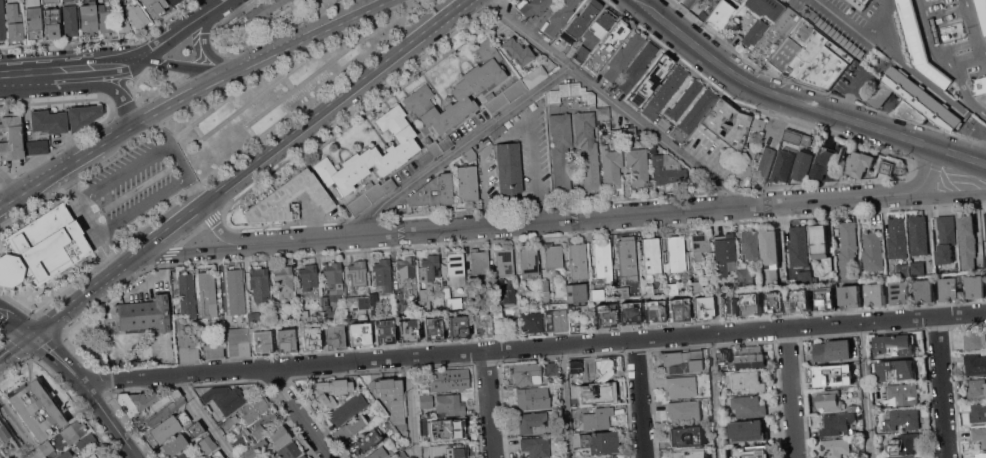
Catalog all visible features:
building: (64, 0)
building: (292, 0)
building: (580, 0)
building: (678, 0)
building: (783, 0)
building: (50, 1)
building: (174, 2)
building: (687, 3)
building: (859, 4)
building: (155, 6)
building: (535, 7)
building: (763, 9)
building: (263, 10)
building: (981, 14)
building: (137, 16)
building: (560, 16)
building: (719, 16)
building: (89, 17)
building: (33, 19)
building: (106, 19)
building: (582, 19)
building: (70, 20)
building: (2, 21)
building: (14, 22)
building: (52, 22)
road: (439, 24)
building: (123, 25)
road: (182, 28)
road: (972, 30)
building: (594, 33)
building: (753, 33)
building: (773, 34)
building: (790, 43)
building: (920, 44)
building: (607, 46)
road: (208, 49)
building: (517, 51)
building: (805, 54)
building: (623, 56)
road: (946, 61)
road: (246, 64)
road: (185, 65)
building: (827, 65)
road: (321, 67)
building: (636, 68)
road: (972, 68)
road: (72, 70)
road: (916, 72)
building: (535, 76)
building: (651, 80)
road: (288, 82)
road: (78, 83)
building: (979, 85)
park: (280, 91)
building: (458, 91)
building: (664, 92)
building: (570, 93)
road: (849, 94)
building: (881, 95)
building: (504, 96)
building: (922, 99)
road: (613, 101)
building: (682, 101)
road: (801, 103)
road: (244, 105)
building: (911, 112)
building: (604, 113)
building: (694, 115)
building: (64, 118)
road: (306, 124)
road: (190, 125)
building: (726, 125)
building: (758, 125)
building: (498, 131)
building: (630, 133)
building: (11, 136)
building: (797, 138)
building: (37, 147)
road: (459, 147)
building: (434, 149)
building: (588, 149)
road: (239, 150)
building: (561, 150)
road: (83, 154)
building: (373, 154)
building: (470, 155)
road: (178, 157)
road: (985, 158)
building: (828, 159)
building: (766, 161)
building: (745, 162)
building: (856, 162)
building: (802, 165)
building: (638, 166)
building: (783, 166)
building: (611, 167)
building: (888, 167)
building: (509, 168)
building: (667, 169)
road: (533, 172)
road: (924, 177)
road: (42, 180)
parking lot: (131, 184)
building: (468, 184)
road: (8, 185)
road: (69, 186)
building: (433, 191)
building: (370, 195)
road: (942, 196)
road: (13, 198)
building: (290, 199)
road: (1, 206)
building: (985, 217)
road: (579, 218)
road: (84, 220)
road: (173, 225)
road: (223, 232)
building: (918, 234)
building: (897, 238)
building: (945, 239)
building: (967, 241)
building: (699, 245)
building: (750, 245)
building: (799, 246)
building: (42, 247)
building: (821, 247)
building: (848, 250)
building: (873, 251)
road: (201, 252)
building: (676, 254)
building: (552, 255)
building: (722, 255)
building: (627, 256)
building: (770, 256)
building: (651, 257)
building: (603, 259)
building: (577, 260)
building: (479, 261)
building: (504, 261)
building: (529, 261)
building: (985, 262)
building: (455, 263)
building: (918, 265)
building: (431, 267)
building: (902, 269)
building: (358, 273)
building: (383, 273)
building: (332, 274)
building: (745, 274)
building: (408, 275)
building: (806, 276)
building: (308, 277)
building: (259, 282)
building: (285, 282)
building: (717, 285)
building: (520, 286)
building: (696, 287)
building: (975, 287)
building: (950, 288)
building: (671, 289)
building: (546, 290)
road: (86, 291)
building: (236, 291)
building: (647, 291)
building: (924, 291)
building: (623, 292)
building: (900, 292)
building: (576, 293)
building: (187, 294)
building: (208, 294)
building: (450, 294)
building: (505, 294)
building: (598, 294)
building: (875, 294)
building: (850, 296)
building: (373, 298)
building: (825, 299)
building: (801, 300)
building: (424, 301)
building: (358, 303)
building: (453, 303)
building: (777, 303)
building: (752, 304)
building: (727, 306)
building: (401, 308)
building: (703, 308)
building: (329, 310)
building: (320, 311)
building: (653, 311)
building: (276, 312)
building: (628, 312)
building: (677, 312)
building: (145, 314)
building: (604, 315)
building: (303, 316)
building: (254, 318)
building: (556, 320)
building: (532, 321)
road: (15, 322)
building: (482, 324)
building: (458, 326)
building: (433, 328)
building: (409, 330)
building: (384, 331)
traffic signals: (30, 333)
building: (360, 333)
building: (335, 336)
building: (311, 338)
building: (975, 338)
building: (286, 340)
building: (187, 341)
building: (239, 342)
building: (261, 342)
road: (15, 343)
building: (895, 345)
road: (535, 346)
building: (213, 350)
building: (832, 351)
building: (724, 356)
road: (59, 358)
building: (751, 358)
building: (165, 359)
building: (682, 361)
building: (975, 365)
building: (575, 366)
building: (551, 368)
building: (602, 369)
building: (896, 370)
building: (527, 374)
building: (830, 374)
building: (447, 380)
building: (748, 382)
road: (940, 386)
building: (681, 387)
building: (977, 389)
road: (865, 390)
road: (790, 392)
building: (596, 393)
building: (708, 393)
building: (902, 394)
road: (715, 395)
building: (319, 396)
building: (390, 398)
building: (532, 398)
road: (639, 398)
building: (225, 399)
building: (164, 400)
building: (830, 400)
road: (565, 401)
building: (135, 402)
building: (426, 402)
road: (488, 404)
building: (450, 405)
road: (412, 407)
building: (747, 408)
building: (36, 409)
building: (255, 409)
building: (348, 409)
building: (165, 411)
building: (686, 411)
road: (299, 413)
building: (978, 413)
building: (144, 416)
road: (204, 416)
building: (599, 419)
building: (902, 419)
road: (111, 422)
building: (229, 422)
building: (265, 423)
building: (533, 424)
building: (836, 424)
building: (169, 427)
building: (350, 427)
building: (383, 428)
building: (143, 430)
building: (195, 430)
building: (447, 430)
road: (19, 431)
building: (73, 431)
building: (748, 431)
building: (980, 435)
building: (687, 436)
building: (279, 437)
building: (242, 439)
building: (6, 441)
building: (365, 441)
building: (600, 442)
building: (86, 443)
building: (904, 443)
building: (206, 445)
building: (173, 446)
building: (536, 447)
building: (835, 447)
building: (46, 448)
building: (257, 449)
building: (448, 450)
building: (290, 451)
building: (381, 452)
building: (752, 452)
road: (28, 454)
building: (64, 454)
building: (689, 454)
building: (95, 455)
building: (216, 455)
building: (402, 455)
building: (182, 456)
building: (980, 456)
building: (0, 457)
building: (52, 457)
building: (195, 457)
building: (303, 457)
building: (309, 457)
building: (915, 457)

